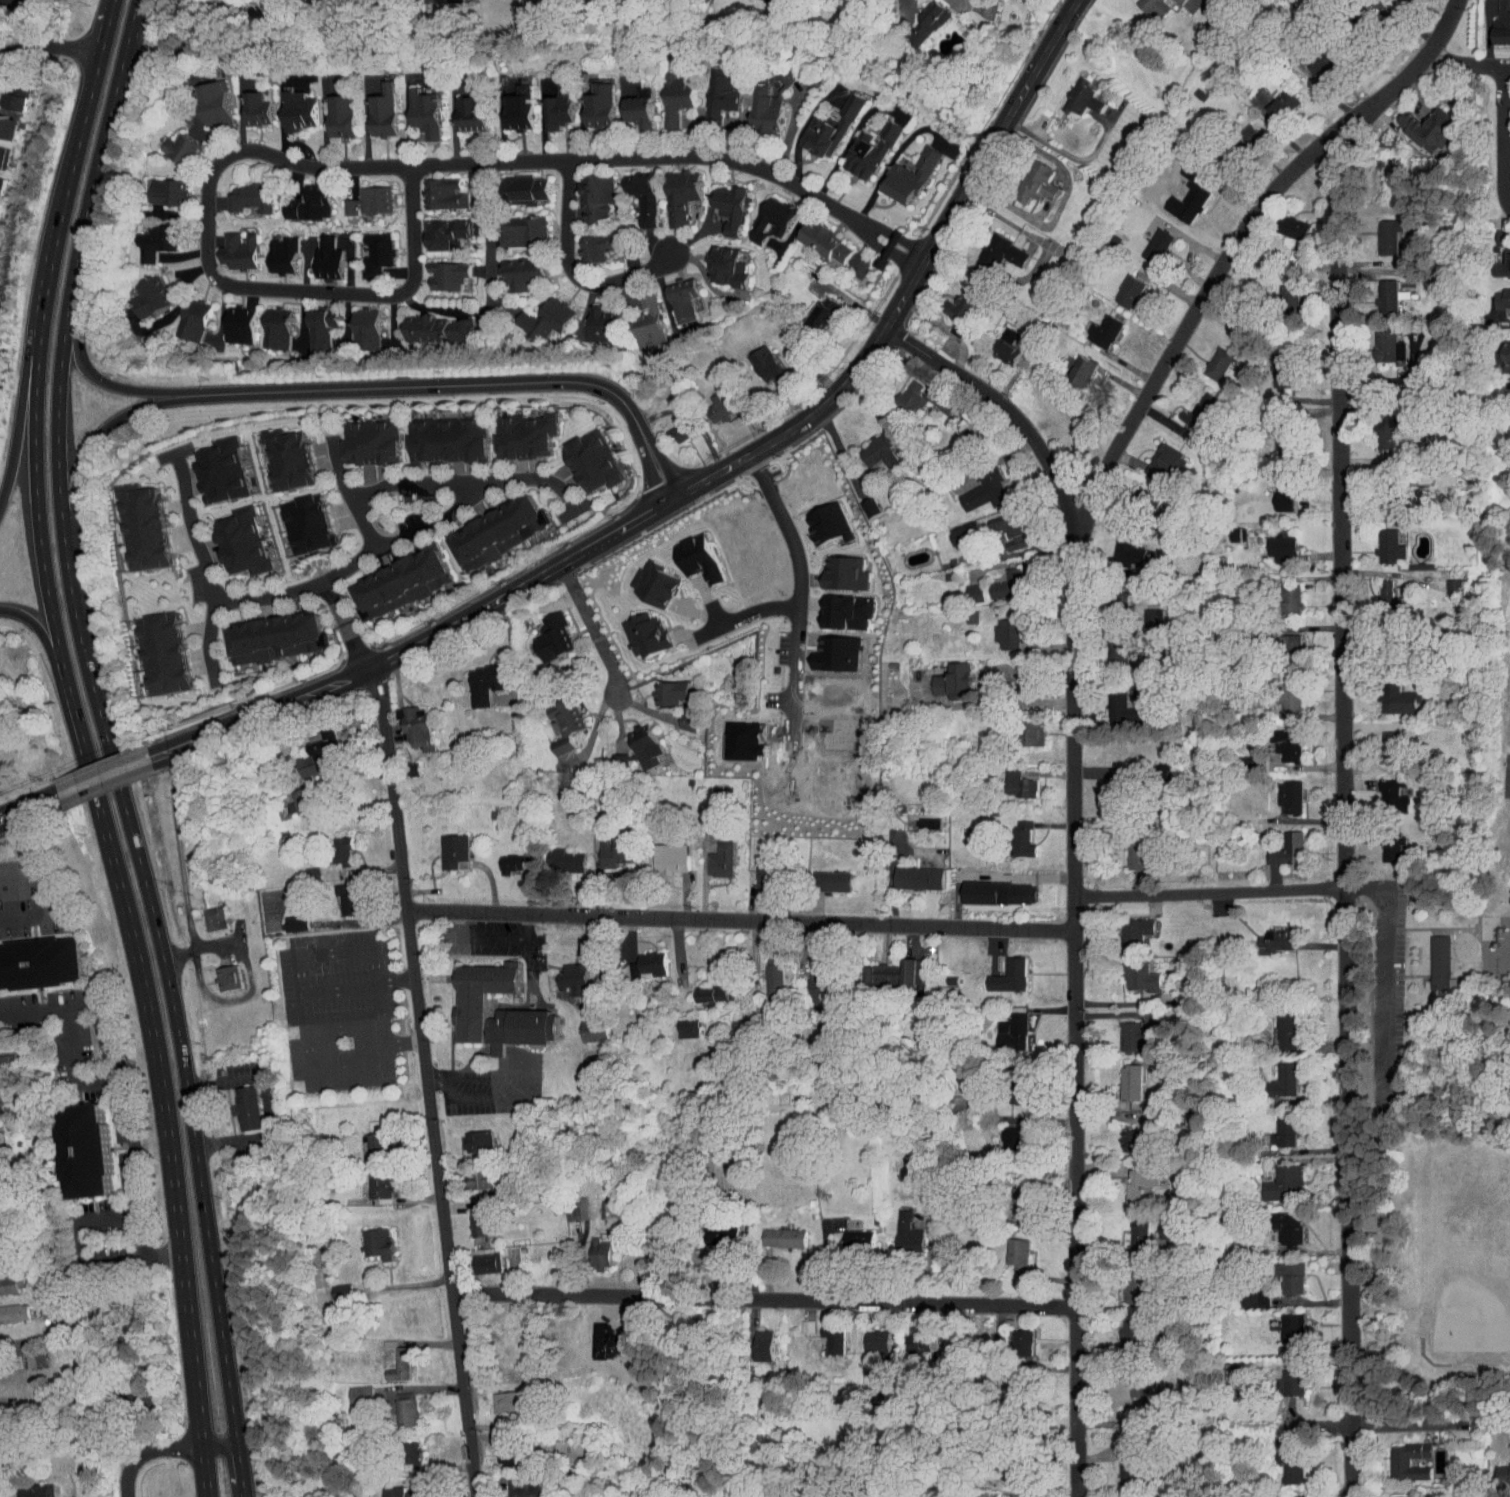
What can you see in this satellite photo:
building: (1166, 0)
building: (1144, 5)
building: (913, 18)
building: (1496, 20)
road: (27, 22)
road: (49, 47)
building: (1314, 57)
road: (1469, 65)
building: (711, 86)
building: (664, 91)
building: (1071, 92)
building: (6, 94)
building: (202, 97)
building: (1271, 98)
building: (587, 99)
building: (507, 100)
building: (547, 101)
building: (244, 102)
building: (754, 103)
building: (286, 105)
building: (371, 105)
building: (413, 105)
building: (627, 105)
building: (458, 106)
building: (329, 109)
building: (0, 118)
building: (818, 123)
building: (1417, 123)
building: (1238, 129)
road: (1505, 138)
building: (169, 142)
building: (857, 145)
road: (101, 150)
road: (681, 155)
road: (71, 169)
road: (212, 170)
building: (898, 170)
building: (1025, 177)
building: (512, 183)
building: (155, 185)
building: (432, 187)
building: (669, 189)
building: (584, 190)
building: (238, 191)
building: (631, 191)
building: (357, 195)
building: (1180, 197)
building: (298, 198)
building: (718, 201)
building: (761, 214)
building: (1282, 221)
building: (511, 225)
building: (433, 227)
building: (1377, 230)
road: (1239, 232)
building: (143, 236)
building: (813, 236)
building: (585, 240)
building: (1145, 240)
building: (227, 245)
building: (989, 246)
building: (365, 248)
building: (1496, 249)
building: (270, 250)
building: (316, 252)
building: (714, 261)
building: (511, 267)
building: (435, 269)
road: (573, 271)
road: (487, 282)
road: (911, 282)
building: (1117, 285)
building: (140, 290)
building: (1376, 290)
building: (1277, 291)
building: (671, 293)
building: (1497, 294)
building: (948, 305)
building: (810, 307)
building: (533, 313)
building: (181, 314)
building: (637, 316)
building: (227, 318)
building: (588, 318)
building: (309, 321)
building: (264, 323)
building: (353, 323)
building: (425, 323)
building: (1091, 325)
building: (1377, 339)
building: (995, 341)
building: (1501, 349)
building: (754, 358)
building: (1207, 358)
building: (1069, 365)
building: (1270, 366)
road: (103, 381)
road: (462, 385)
building: (899, 391)
building: (930, 398)
building: (707, 403)
building: (1186, 405)
road: (24, 423)
building: (670, 426)
building: (1375, 426)
building: (513, 430)
building: (434, 433)
building: (358, 435)
road: (91, 441)
building: (867, 446)
road: (840, 449)
building: (277, 453)
building: (580, 456)
building: (1153, 456)
building: (210, 464)
road: (467, 480)
building: (973, 485)
building: (1273, 490)
road: (346, 495)
road: (35, 497)
building: (857, 500)
building: (295, 518)
building: (132, 521)
building: (998, 524)
building: (485, 526)
building: (951, 528)
building: (230, 536)
building: (1377, 541)
building: (1270, 543)
building: (1117, 548)
building: (685, 552)
road: (356, 561)
road: (201, 566)
building: (832, 567)
building: (387, 578)
building: (642, 578)
building: (995, 579)
building: (1442, 580)
building: (1375, 582)
building: (963, 587)
road: (797, 590)
building: (1278, 594)
building: (834, 606)
road: (751, 614)
road: (37, 618)
road: (347, 625)
building: (998, 627)
building: (635, 629)
building: (262, 632)
building: (542, 632)
road: (597, 634)
building: (1279, 641)
road: (419, 643)
building: (151, 647)
building: (1105, 648)
building: (941, 676)
building: (472, 679)
road: (983, 691)
building: (1278, 691)
building: (1388, 693)
building: (1113, 704)
park: (1505, 712)
building: (677, 716)
building: (553, 718)
building: (404, 721)
building: (1021, 727)
building: (1277, 739)
building: (633, 741)
building: (1378, 742)
building: (301, 755)
building: (1151, 766)
road: (104, 778)
building: (1008, 779)
building: (1279, 791)
building: (1382, 791)
building: (288, 796)
road: (29, 809)
road: (1345, 818)
building: (1011, 833)
building: (1381, 843)
building: (329, 845)
building: (1276, 845)
building: (442, 846)
building: (604, 846)
building: (1126, 850)
building: (659, 853)
building: (709, 854)
building: (553, 855)
building: (498, 858)
road: (179, 865)
road: (1076, 869)
road: (140, 871)
building: (906, 872)
building: (753, 875)
building: (820, 876)
building: (987, 886)
road: (1363, 887)
road: (1211, 890)
building: (335, 892)
road: (56, 897)
building: (203, 913)
building: (283, 917)
road: (742, 919)
building: (1123, 927)
building: (1265, 934)
road: (491, 936)
building: (33, 957)
building: (1429, 958)
building: (640, 959)
building: (1439, 962)
building: (886, 969)
building: (998, 971)
building: (217, 972)
building: (1129, 972)
building: (561, 973)
building: (763, 973)
parking lot: (1387, 981)
building: (807, 983)
road: (1385, 983)
road: (340, 988)
building: (701, 989)
building: (474, 999)
road: (302, 1005)
parking lot: (339, 1010)
road: (381, 1012)
building: (676, 1023)
building: (582, 1024)
building: (1273, 1025)
building: (1001, 1027)
road: (344, 1030)
building: (1121, 1031)
building: (1, 1055)
road: (157, 1070)
park: (1446, 1071)
building: (1272, 1075)
building: (1119, 1077)
building: (1009, 1079)
road: (434, 1080)
road: (426, 1083)
road: (520, 1085)
road: (124, 1093)
building: (234, 1103)
building: (1273, 1126)
building: (1001, 1131)
building: (1120, 1135)
building: (465, 1136)
building: (364, 1139)
building: (69, 1144)
building: (469, 1173)
building: (1273, 1178)
building: (1128, 1179)
building: (368, 1180)
building: (1010, 1199)
building: (565, 1203)
building: (469, 1215)
building: (1277, 1220)
building: (1160, 1223)
building: (896, 1227)
building: (708, 1228)
building: (1127, 1229)
building: (772, 1231)
building: (847, 1232)
building: (366, 1236)
building: (1006, 1247)
building: (589, 1248)
park: (1462, 1251)
building: (476, 1256)
building: (1280, 1270)
building: (7, 1276)
building: (1122, 1279)
building: (329, 1286)
building: (1243, 1291)
road: (764, 1299)
building: (8, 1306)
building: (796, 1320)
building: (1281, 1321)
building: (1117, 1323)
building: (822, 1333)
building: (865, 1335)
building: (1011, 1336)
building: (906, 1337)
building: (752, 1339)
building: (23, 1354)
building: (387, 1358)
building: (1282, 1376)
building: (1131, 1381)
building: (348, 1389)
building: (496, 1395)
building: (394, 1403)
road: (1432, 1422)
road: (217, 1444)
building: (400, 1447)
building: (498, 1449)
road: (146, 1452)
building: (1397, 1455)
building: (1121, 1460)
building: (1280, 1460)
building: (1497, 1467)
road: (238, 1470)
building: (512, 1486)
building: (24, 1488)
building: (389, 1489)
building: (1279, 1492)
building: (1388, 1493)

